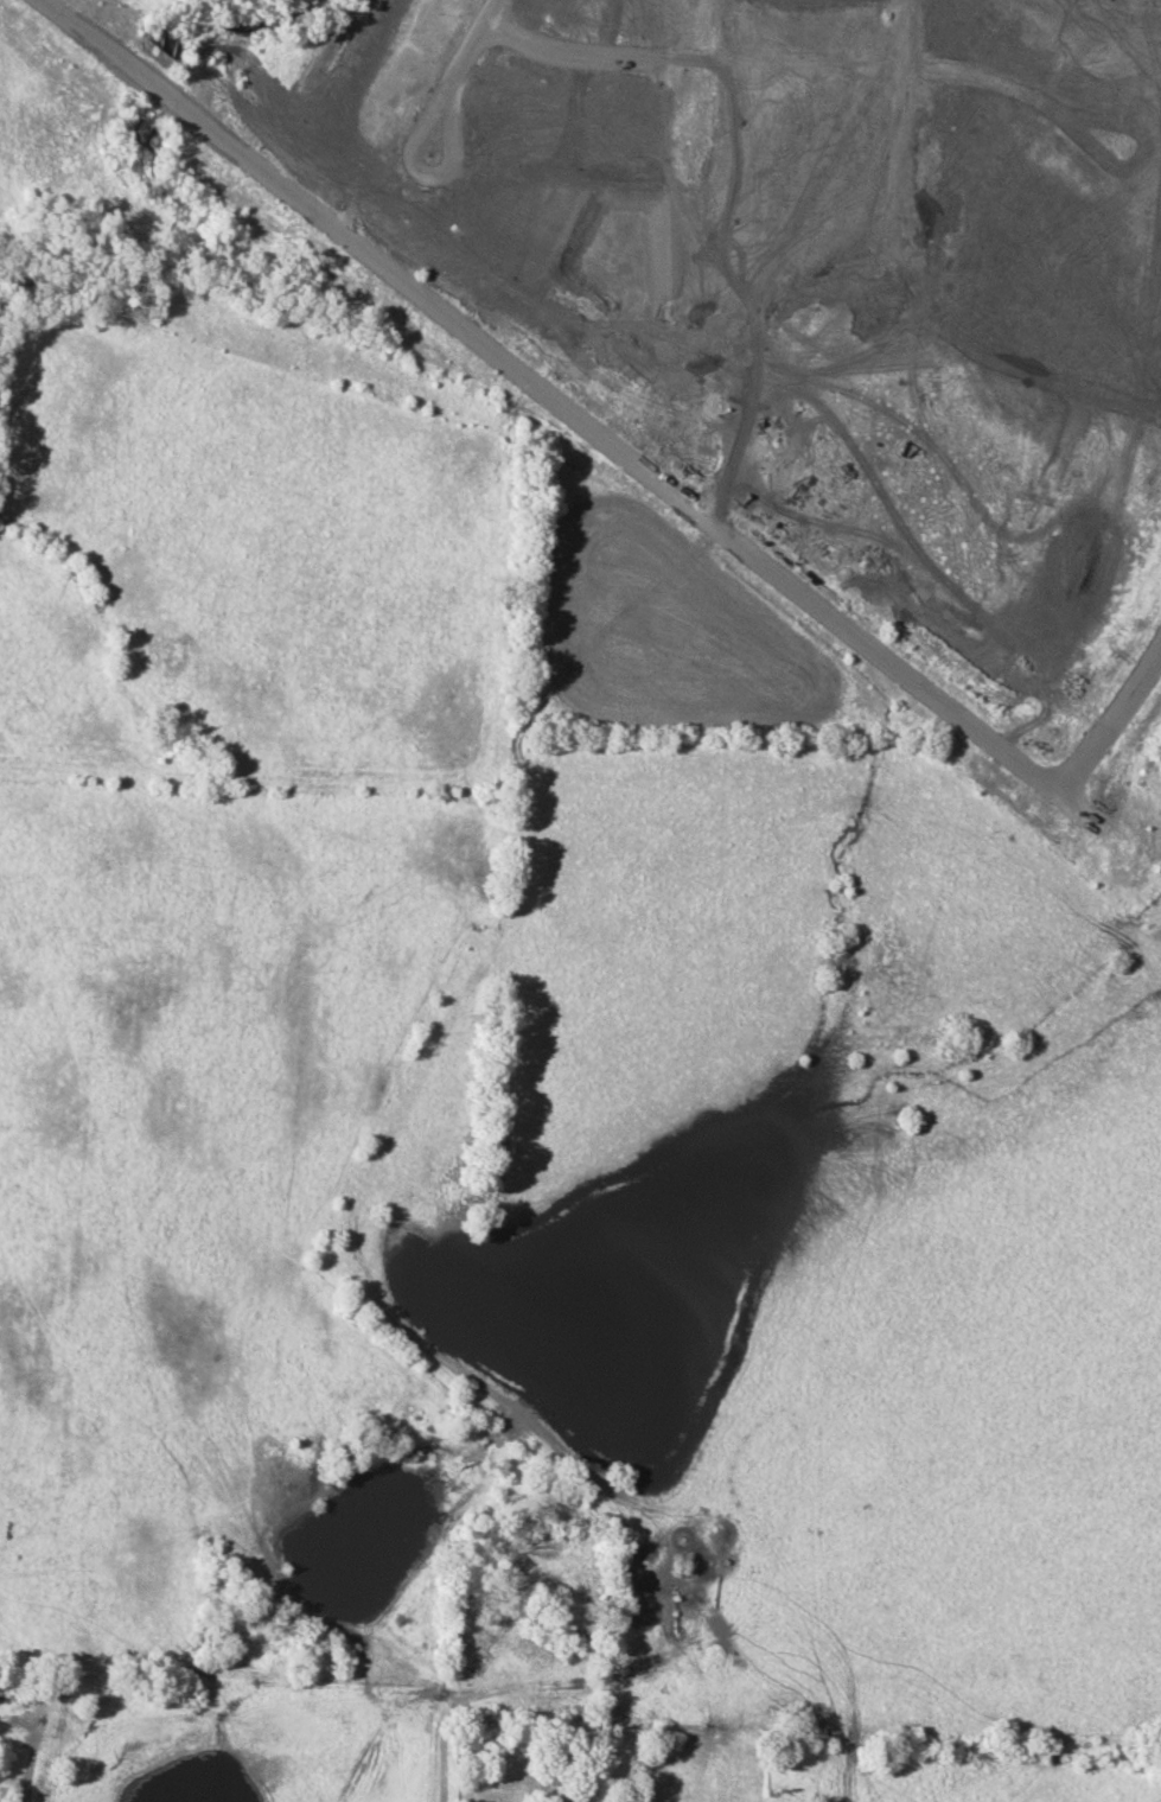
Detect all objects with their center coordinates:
road: (468, 46)
road: (550, 56)
road: (423, 180)
road: (564, 408)
road: (1108, 720)

